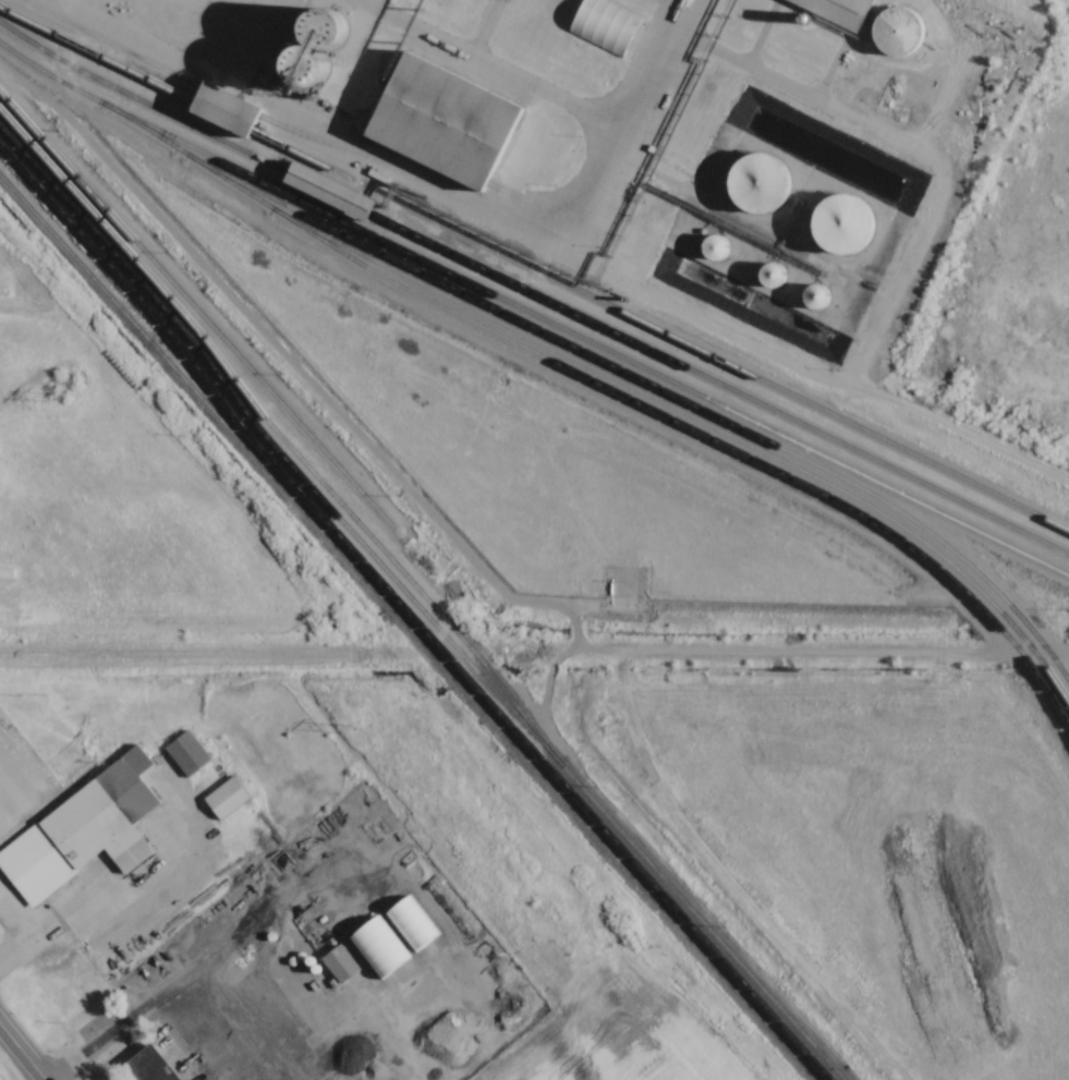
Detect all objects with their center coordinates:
building: (901, 32)
road: (498, 66)
building: (230, 110)
building: (450, 122)
road: (422, 181)
building: (763, 183)
building: (356, 204)
building: (847, 225)
power tower: (50, 397)
railway: (415, 610)
road: (828, 654)
road: (184, 655)
power tower: (352, 729)
building: (189, 753)
building: (227, 798)
building: (84, 830)
road: (54, 931)
building: (341, 963)
road: (182, 991)
road: (17, 1057)
building: (153, 1065)

